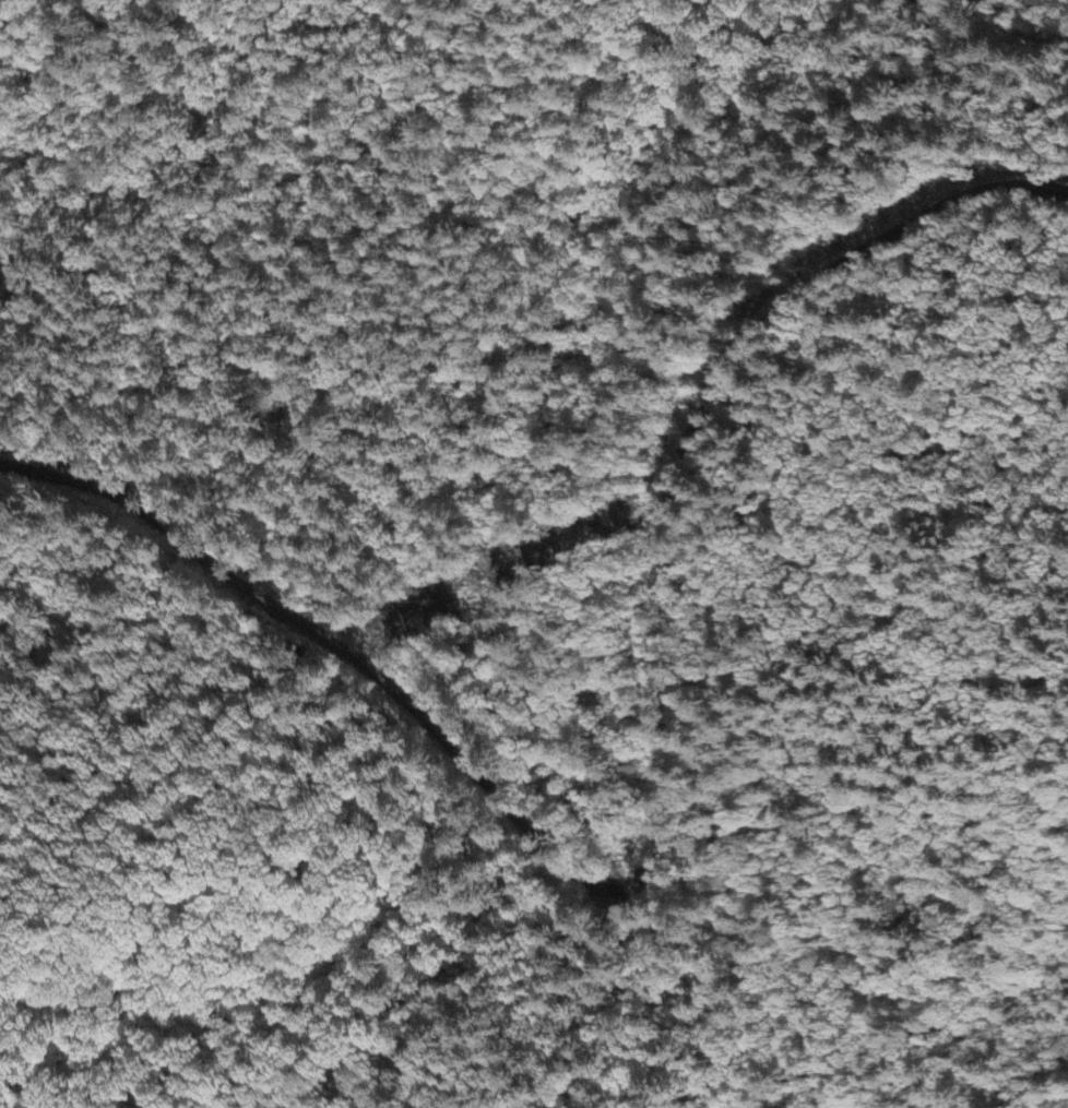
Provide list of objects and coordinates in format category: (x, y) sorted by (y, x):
road: (664, 812)

